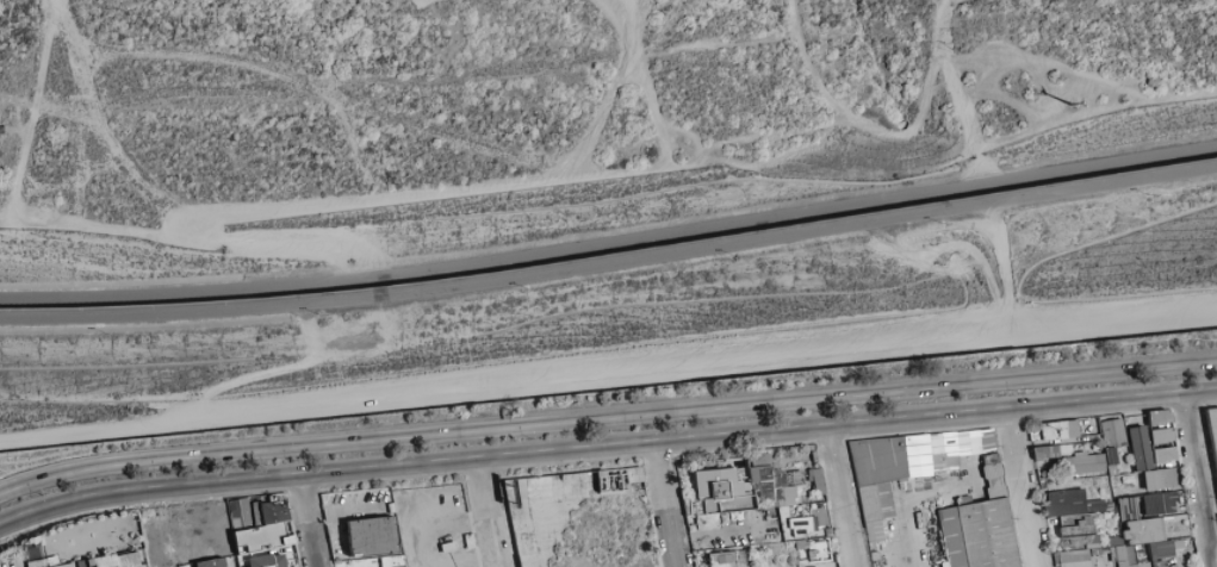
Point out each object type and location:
road: (1076, 118)
road: (899, 135)
road: (385, 194)
road: (610, 241)
road: (266, 242)
road: (610, 263)
road: (1002, 270)
road: (608, 381)
road: (708, 400)
building: (1135, 425)
building: (1213, 426)
building: (1060, 430)
road: (725, 432)
building: (1113, 434)
building: (1036, 436)
building: (1161, 436)
building: (1130, 441)
building: (988, 442)
building: (944, 447)
building: (1066, 449)
building: (1047, 453)
building: (815, 457)
building: (763, 460)
building: (880, 461)
building: (944, 461)
building: (1112, 461)
road: (98, 462)
building: (1082, 463)
building: (741, 466)
building: (1138, 467)
building: (777, 471)
building: (1088, 473)
building: (755, 474)
building: (993, 476)
road: (1198, 478)
building: (780, 479)
building: (795, 479)
building: (1160, 479)
building: (818, 481)
building: (746, 485)
road: (1023, 486)
building: (774, 488)
building: (802, 490)
building: (719, 491)
building: (746, 492)
road: (842, 494)
road: (116, 497)
building: (701, 498)
building: (824, 498)
building: (802, 499)
building: (963, 500)
building: (280, 501)
building: (876, 501)
road: (665, 503)
building: (1066, 503)
building: (1159, 503)
building: (738, 504)
building: (776, 504)
building: (710, 505)
building: (1095, 505)
building: (1110, 505)
building: (688, 506)
building: (1175, 506)
building: (701, 507)
building: (1128, 509)
road: (485, 512)
building: (257, 513)
building: (274, 513)
building: (242, 515)
building: (693, 515)
building: (694, 516)
building: (772, 516)
building: (721, 517)
building: (757, 519)
building: (1076, 519)
road: (310, 521)
building: (693, 521)
building: (708, 521)
building: (814, 523)
building: (787, 524)
road: (437, 526)
building: (695, 526)
building: (801, 526)
building: (766, 528)
building: (1130, 530)
building: (237, 531)
building: (1149, 531)
building: (832, 534)
building: (1079, 534)
building: (1179, 534)
building: (979, 535)
building: (372, 537)
building: (1128, 540)
building: (1111, 541)
building: (1119, 541)
road: (159, 544)
building: (802, 544)
building: (1178, 544)
road: (898, 546)
building: (759, 547)
building: (57, 549)
building: (1160, 549)
building: (772, 550)
building: (816, 550)
building: (830, 550)
building: (1091, 552)
building: (1094, 552)
building: (1097, 553)
building: (811, 554)
building: (1135, 554)
building: (695, 555)
building: (1118, 555)
building: (743, 557)
building: (722, 559)
building: (737, 559)
building: (1057, 559)
building: (1075, 559)
building: (339, 560)
building: (101, 561)
building: (395, 561)
building: (43, 562)
building: (61, 562)
road: (471, 562)
building: (32, 563)
building: (82, 563)
building: (213, 563)
building: (697, 563)
building: (1093, 563)
building: (1159, 563)
building: (67, 565)
building: (75, 565)
building: (1142, 565)
building: (271, 566)

